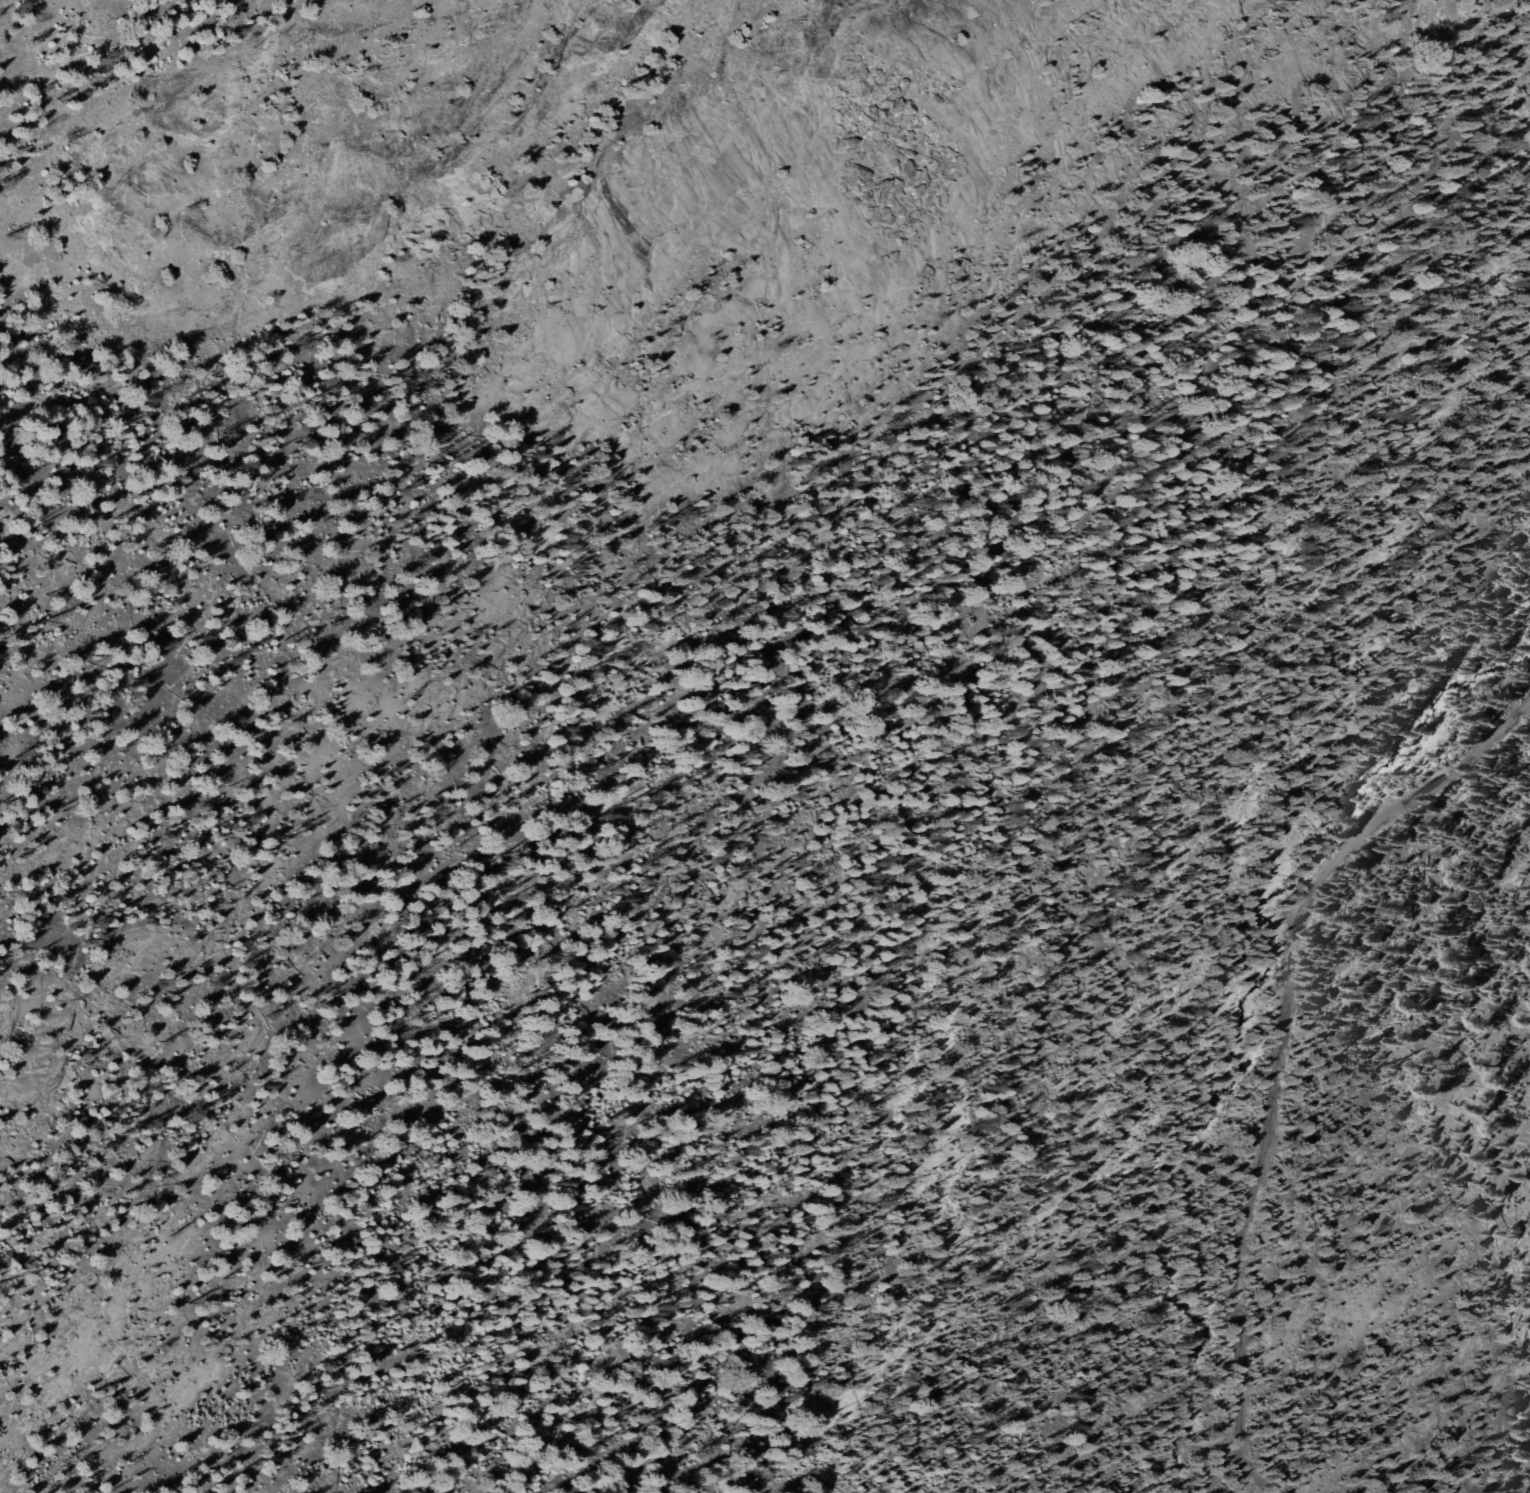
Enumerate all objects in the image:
road: (1279, 1047)
road: (1475, 1227)

